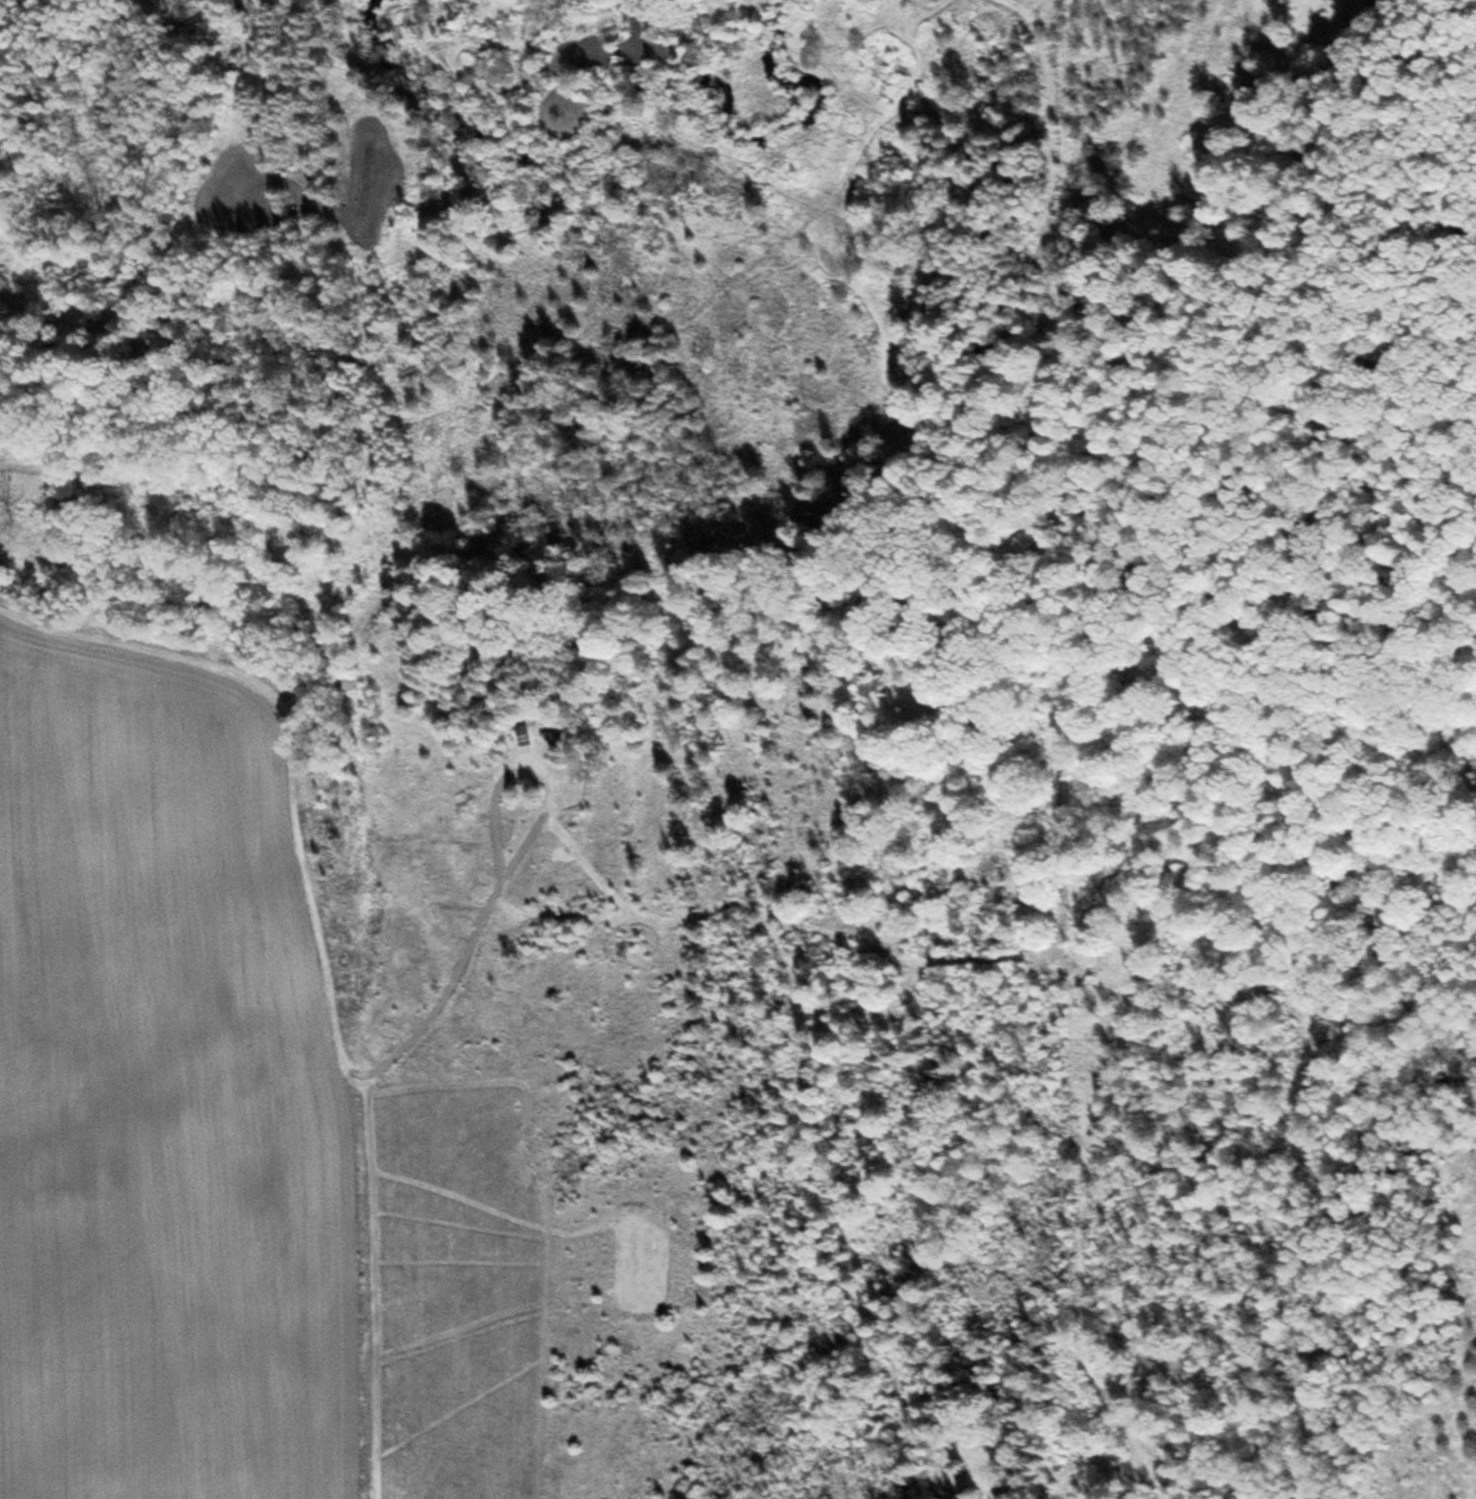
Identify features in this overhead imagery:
building: (519, 734)
building: (567, 797)

